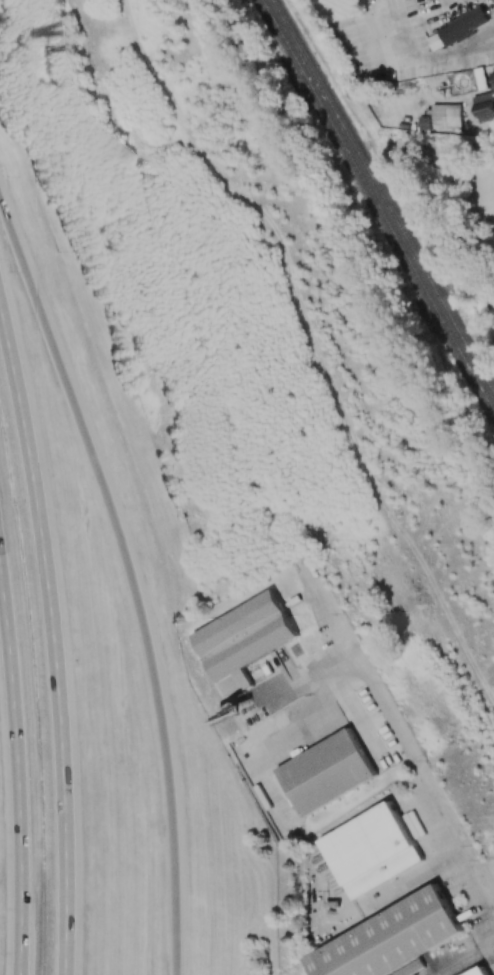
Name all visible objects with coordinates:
building: (457, 30)
building: (493, 78)
building: (483, 106)
building: (443, 116)
building: (437, 141)
railway: (381, 199)
railway: (375, 208)
road: (134, 578)
road: (53, 634)
building: (242, 641)
road: (402, 735)
building: (327, 772)
road: (17, 787)
building: (410, 826)
building: (371, 850)
building: (391, 937)
building: (412, 969)
building: (481, 971)

